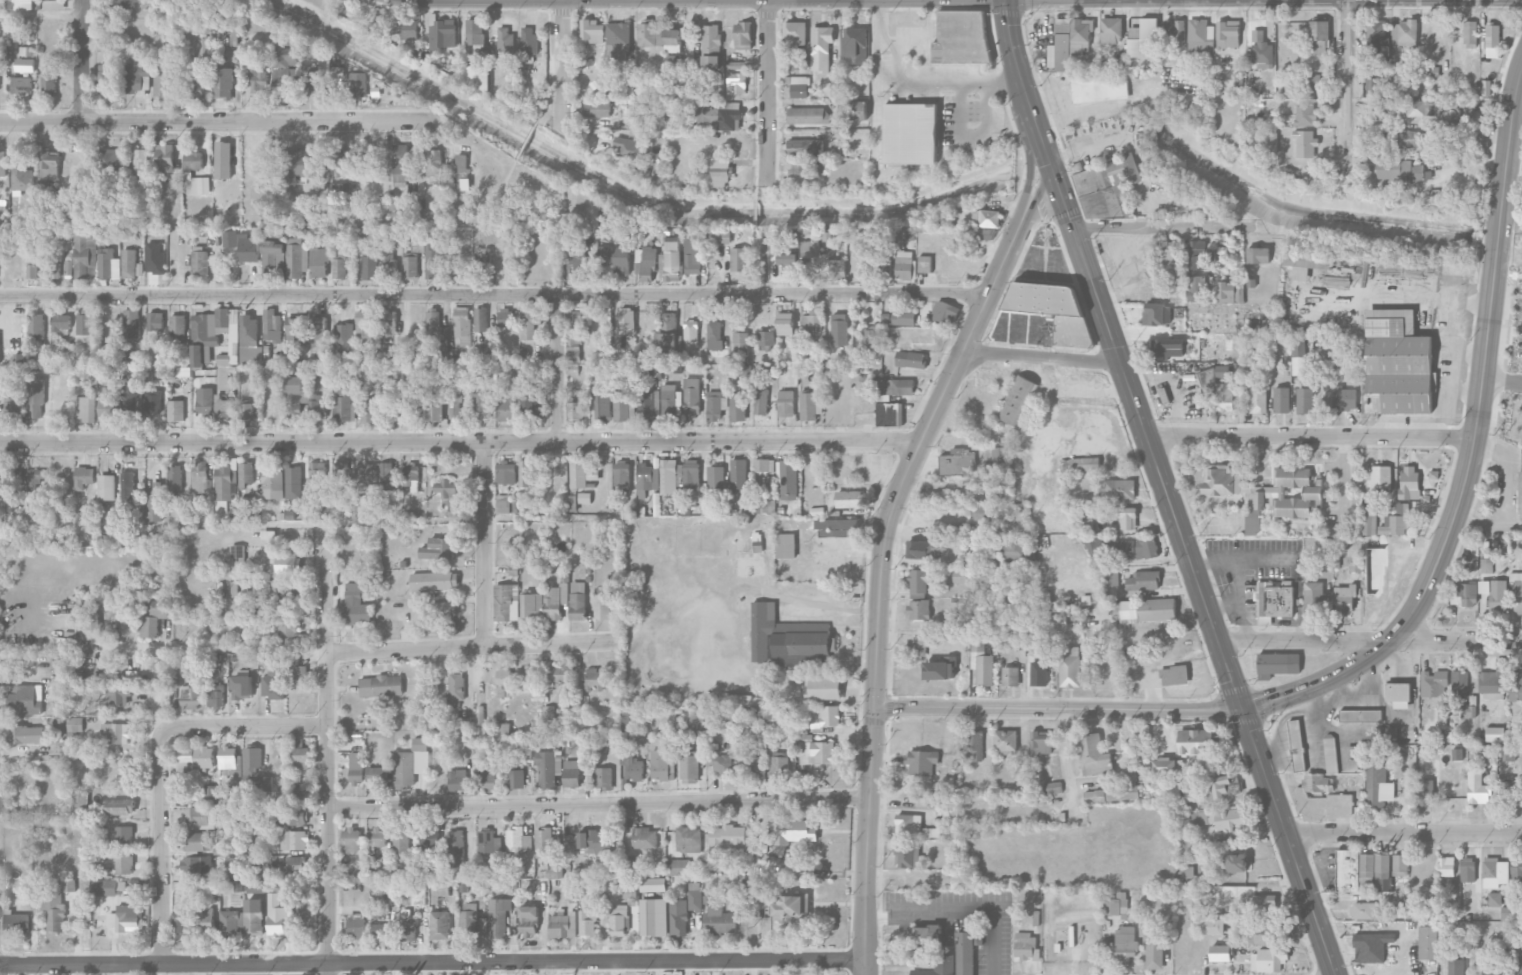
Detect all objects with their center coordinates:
building: (123, 3)
building: (21, 4)
building: (54, 4)
road: (40, 14)
building: (409, 28)
building: (1111, 30)
building: (475, 31)
building: (593, 31)
building: (1470, 31)
building: (442, 32)
building: (618, 32)
building: (795, 32)
building: (650, 33)
building: (1176, 33)
building: (1228, 33)
building: (1404, 33)
building: (743, 35)
building: (1200, 35)
building: (1319, 36)
building: (960, 37)
building: (1143, 37)
building: (675, 39)
building: (505, 40)
building: (1492, 40)
building: (1378, 41)
building: (1068, 42)
building: (856, 43)
building: (529, 44)
building: (103, 45)
building: (711, 46)
building: (821, 47)
building: (203, 48)
building: (26, 50)
building: (1262, 52)
building: (286, 57)
road: (80, 62)
building: (799, 62)
building: (24, 64)
road: (562, 65)
building: (734, 65)
building: (476, 70)
building: (1428, 71)
building: (338, 72)
building: (106, 76)
building: (311, 76)
building: (137, 79)
building: (286, 80)
building: (259, 81)
building: (223, 82)
building: (164, 83)
building: (737, 83)
building: (48, 84)
building: (194, 84)
building: (359, 84)
building: (1312, 84)
building: (21, 85)
road: (906, 85)
building: (798, 86)
building: (1100, 88)
road: (1349, 88)
road: (767, 92)
road: (1026, 92)
road: (546, 104)
building: (597, 108)
building: (1417, 108)
building: (857, 110)
building: (722, 114)
building: (1305, 114)
building: (808, 115)
road: (225, 123)
building: (1455, 130)
building: (910, 133)
building: (1415, 138)
road: (526, 139)
building: (1269, 143)
building: (1305, 143)
building: (805, 147)
building: (629, 149)
building: (165, 155)
building: (223, 159)
building: (110, 161)
building: (342, 161)
building: (140, 162)
building: (434, 162)
building: (49, 163)
building: (399, 163)
building: (3, 164)
building: (299, 164)
building: (805, 169)
building: (1401, 170)
building: (460, 171)
building: (188, 173)
building: (21, 175)
building: (721, 176)
road: (756, 177)
building: (799, 182)
traffic signals: (1058, 183)
building: (1107, 188)
building: (340, 191)
road: (755, 210)
building: (395, 217)
building: (987, 218)
road: (503, 224)
road: (1166, 227)
building: (910, 234)
building: (724, 237)
building: (273, 240)
building: (243, 245)
building: (1168, 252)
building: (85, 253)
building: (811, 253)
building: (1197, 254)
building: (670, 255)
building: (1258, 255)
building: (482, 257)
building: (615, 257)
building: (692, 257)
building: (295, 259)
building: (317, 259)
building: (647, 259)
building: (739, 259)
building: (200, 260)
building: (432, 261)
building: (788, 261)
building: (108, 263)
building: (387, 263)
road: (756, 263)
building: (925, 263)
building: (1305, 263)
building: (131, 264)
building: (279, 264)
building: (32, 265)
building: (339, 265)
building: (409, 266)
building: (369, 267)
building: (576, 267)
building: (834, 268)
building: (904, 268)
building: (884, 270)
road: (1507, 274)
building: (1196, 287)
road: (494, 296)
building: (944, 312)
building: (1157, 314)
building: (1067, 316)
building: (505, 317)
building: (899, 317)
building: (480, 319)
building: (155, 320)
building: (626, 320)
building: (387, 322)
building: (131, 323)
building: (785, 323)
building: (60, 324)
building: (270, 324)
building: (293, 324)
building: (529, 324)
building: (177, 325)
building: (35, 326)
building: (462, 326)
building: (83, 327)
building: (363, 329)
building: (811, 329)
building: (838, 329)
building: (317, 331)
building: (436, 332)
building: (691, 333)
building: (574, 334)
building: (214, 335)
building: (667, 335)
building: (715, 335)
building: (767, 337)
building: (343, 338)
building: (871, 338)
building: (248, 340)
building: (740, 344)
building: (1169, 348)
building: (404, 357)
road: (1043, 357)
building: (1298, 358)
building: (911, 359)
building: (1397, 363)
road: (558, 370)
building: (1222, 371)
road: (1502, 379)
building: (895, 386)
building: (79, 387)
road: (1076, 390)
building: (294, 393)
building: (691, 396)
building: (1225, 396)
building: (36, 397)
building: (1344, 398)
building: (107, 399)
building: (671, 399)
building: (1017, 399)
building: (1281, 399)
building: (130, 400)
building: (152, 400)
building: (205, 400)
building: (761, 400)
building: (1258, 400)
building: (1304, 400)
building: (410, 402)
building: (602, 402)
building: (649, 402)
building: (786, 403)
building: (343, 404)
building: (12, 405)
building: (456, 405)
building: (481, 405)
building: (533, 405)
building: (621, 405)
building: (809, 405)
building: (85, 406)
building: (316, 406)
building: (505, 406)
building: (714, 406)
building: (431, 407)
building: (738, 407)
building: (222, 409)
building: (368, 409)
building: (176, 410)
building: (574, 410)
building: (246, 411)
building: (887, 414)
road: (1312, 436)
road: (460, 442)
road: (1475, 442)
building: (998, 460)
building: (958, 462)
building: (1080, 464)
building: (763, 469)
building: (246, 472)
building: (506, 472)
building: (528, 472)
building: (410, 473)
building: (577, 473)
building: (592, 473)
building: (317, 474)
building: (387, 475)
building: (622, 475)
building: (739, 475)
building: (200, 476)
building: (647, 476)
building: (670, 476)
building: (692, 476)
building: (716, 476)
building: (1381, 476)
building: (84, 477)
building: (340, 477)
building: (366, 477)
building: (36, 479)
building: (788, 479)
building: (175, 480)
building: (226, 481)
building: (293, 482)
building: (1409, 482)
building: (10, 483)
road: (1505, 483)
building: (272, 484)
building: (128, 485)
building: (106, 486)
building: (1122, 489)
building: (1266, 492)
building: (1520, 493)
building: (449, 496)
building: (584, 497)
building: (849, 499)
building: (246, 502)
building: (572, 502)
building: (154, 503)
building: (503, 503)
building: (764, 505)
building: (221, 507)
building: (535, 507)
building: (319, 509)
building: (983, 512)
building: (1127, 518)
building: (1397, 521)
building: (1369, 523)
building: (35, 525)
road: (385, 526)
building: (837, 527)
road: (483, 544)
building: (786, 545)
building: (1094, 545)
building: (1137, 547)
building: (437, 548)
building: (919, 549)
building: (1012, 549)
road: (884, 557)
building: (237, 558)
building: (286, 561)
building: (1470, 563)
building: (1486, 565)
building: (1375, 571)
building: (958, 576)
road: (1197, 578)
building: (1142, 580)
building: (433, 581)
building: (260, 586)
building: (233, 589)
building: (244, 591)
building: (1517, 591)
building: (290, 593)
building: (1495, 593)
building: (1463, 594)
building: (1313, 597)
building: (1275, 598)
building: (1344, 599)
building: (555, 600)
building: (578, 600)
building: (506, 602)
building: (602, 603)
building: (260, 604)
building: (356, 604)
building: (531, 606)
building: (918, 609)
building: (1144, 610)
building: (444, 615)
building: (152, 618)
building: (93, 621)
building: (288, 630)
building: (790, 639)
road: (1370, 641)
building: (922, 642)
road: (223, 648)
road: (475, 648)
building: (982, 662)
building: (1278, 663)
building: (1070, 666)
building: (940, 669)
building: (298, 670)
building: (1039, 672)
building: (557, 674)
building: (1174, 675)
building: (1010, 676)
building: (594, 680)
building: (1493, 681)
building: (504, 682)
building: (1459, 683)
building: (1519, 684)
building: (272, 685)
building: (381, 685)
building: (242, 687)
building: (1512, 687)
building: (823, 688)
building: (455, 689)
building: (1436, 689)
building: (1399, 694)
building: (215, 695)
building: (119, 696)
building: (190, 697)
building: (26, 698)
road: (1060, 709)
building: (1467, 711)
building: (548, 713)
building: (694, 715)
building: (1360, 715)
building: (825, 716)
building: (462, 723)
building: (57, 724)
building: (74, 725)
road: (244, 726)
building: (502, 729)
building: (116, 732)
building: (1391, 733)
building: (27, 734)
building: (1494, 734)
building: (1005, 740)
building: (1040, 742)
building: (1196, 742)
building: (974, 745)
building: (1297, 745)
road: (330, 750)
building: (1355, 751)
building: (1487, 752)
building: (822, 753)
road: (1066, 753)
building: (1330, 753)
building: (1506, 753)
building: (300, 754)
building: (1093, 755)
building: (186, 757)
building: (204, 757)
building: (252, 761)
building: (752, 761)
building: (922, 761)
building: (227, 762)
building: (411, 763)
building: (721, 763)
building: (660, 764)
building: (631, 765)
building: (1167, 765)
building: (690, 766)
building: (779, 766)
building: (548, 767)
building: (356, 768)
building: (571, 773)
building: (376, 774)
building: (515, 776)
building: (489, 777)
building: (604, 778)
building: (800, 778)
building: (458, 779)
building: (1377, 782)
building: (265, 783)
building: (1052, 786)
building: (1222, 787)
building: (1477, 788)
building: (1506, 788)
building: (210, 792)
building: (303, 793)
building: (1094, 793)
building: (1425, 793)
building: (1321, 800)
road: (600, 804)
building: (118, 806)
building: (296, 815)
building: (200, 816)
building: (1220, 818)
building: (913, 827)
building: (1183, 827)
building: (793, 831)
road: (1404, 833)
building: (124, 834)
building: (377, 836)
building: (432, 837)
building: (645, 838)
building: (728, 838)
building: (295, 839)
building: (351, 839)
building: (688, 839)
building: (518, 840)
building: (596, 841)
building: (196, 842)
building: (402, 842)
building: (543, 842)
building: (489, 845)
building: (455, 848)
road: (161, 849)
building: (907, 856)
building: (124, 862)
building: (1382, 862)
building: (293, 863)
building: (1237, 863)
building: (193, 864)
building: (1400, 865)
building: (554, 866)
building: (677, 866)
building: (1446, 866)
building: (1352, 869)
building: (1467, 869)
building: (1516, 871)
building: (1494, 872)
building: (1183, 875)
building: (653, 884)
building: (70, 885)
building: (136, 885)
building: (387, 885)
building: (108, 887)
building: (569, 890)
building: (419, 894)
building: (1494, 899)
building: (1254, 901)
building: (1400, 901)
building: (791, 906)
building: (1116, 906)
building: (1363, 910)
building: (54, 911)
building: (684, 912)
building: (1505, 913)
road: (916, 914)
building: (254, 916)
building: (278, 916)
building: (127, 917)
building: (498, 917)
building: (653, 917)
building: (468, 919)
building: (528, 920)
building: (619, 920)
building: (720, 920)
building: (231, 921)
building: (16, 922)
building: (205, 922)
building: (180, 923)
building: (440, 924)
building: (588, 924)
building: (356, 925)
building: (563, 925)
building: (1213, 926)
building: (380, 930)
building: (408, 930)
building: (1272, 931)
building: (927, 934)
building: (1427, 942)
building: (1125, 945)
building: (1026, 946)
building: (1368, 946)
building: (1154, 953)
building: (1220, 953)
building: (954, 958)
building: (1268, 959)
building: (1488, 961)
road: (433, 963)
building: (1456, 966)
building: (1517, 967)

